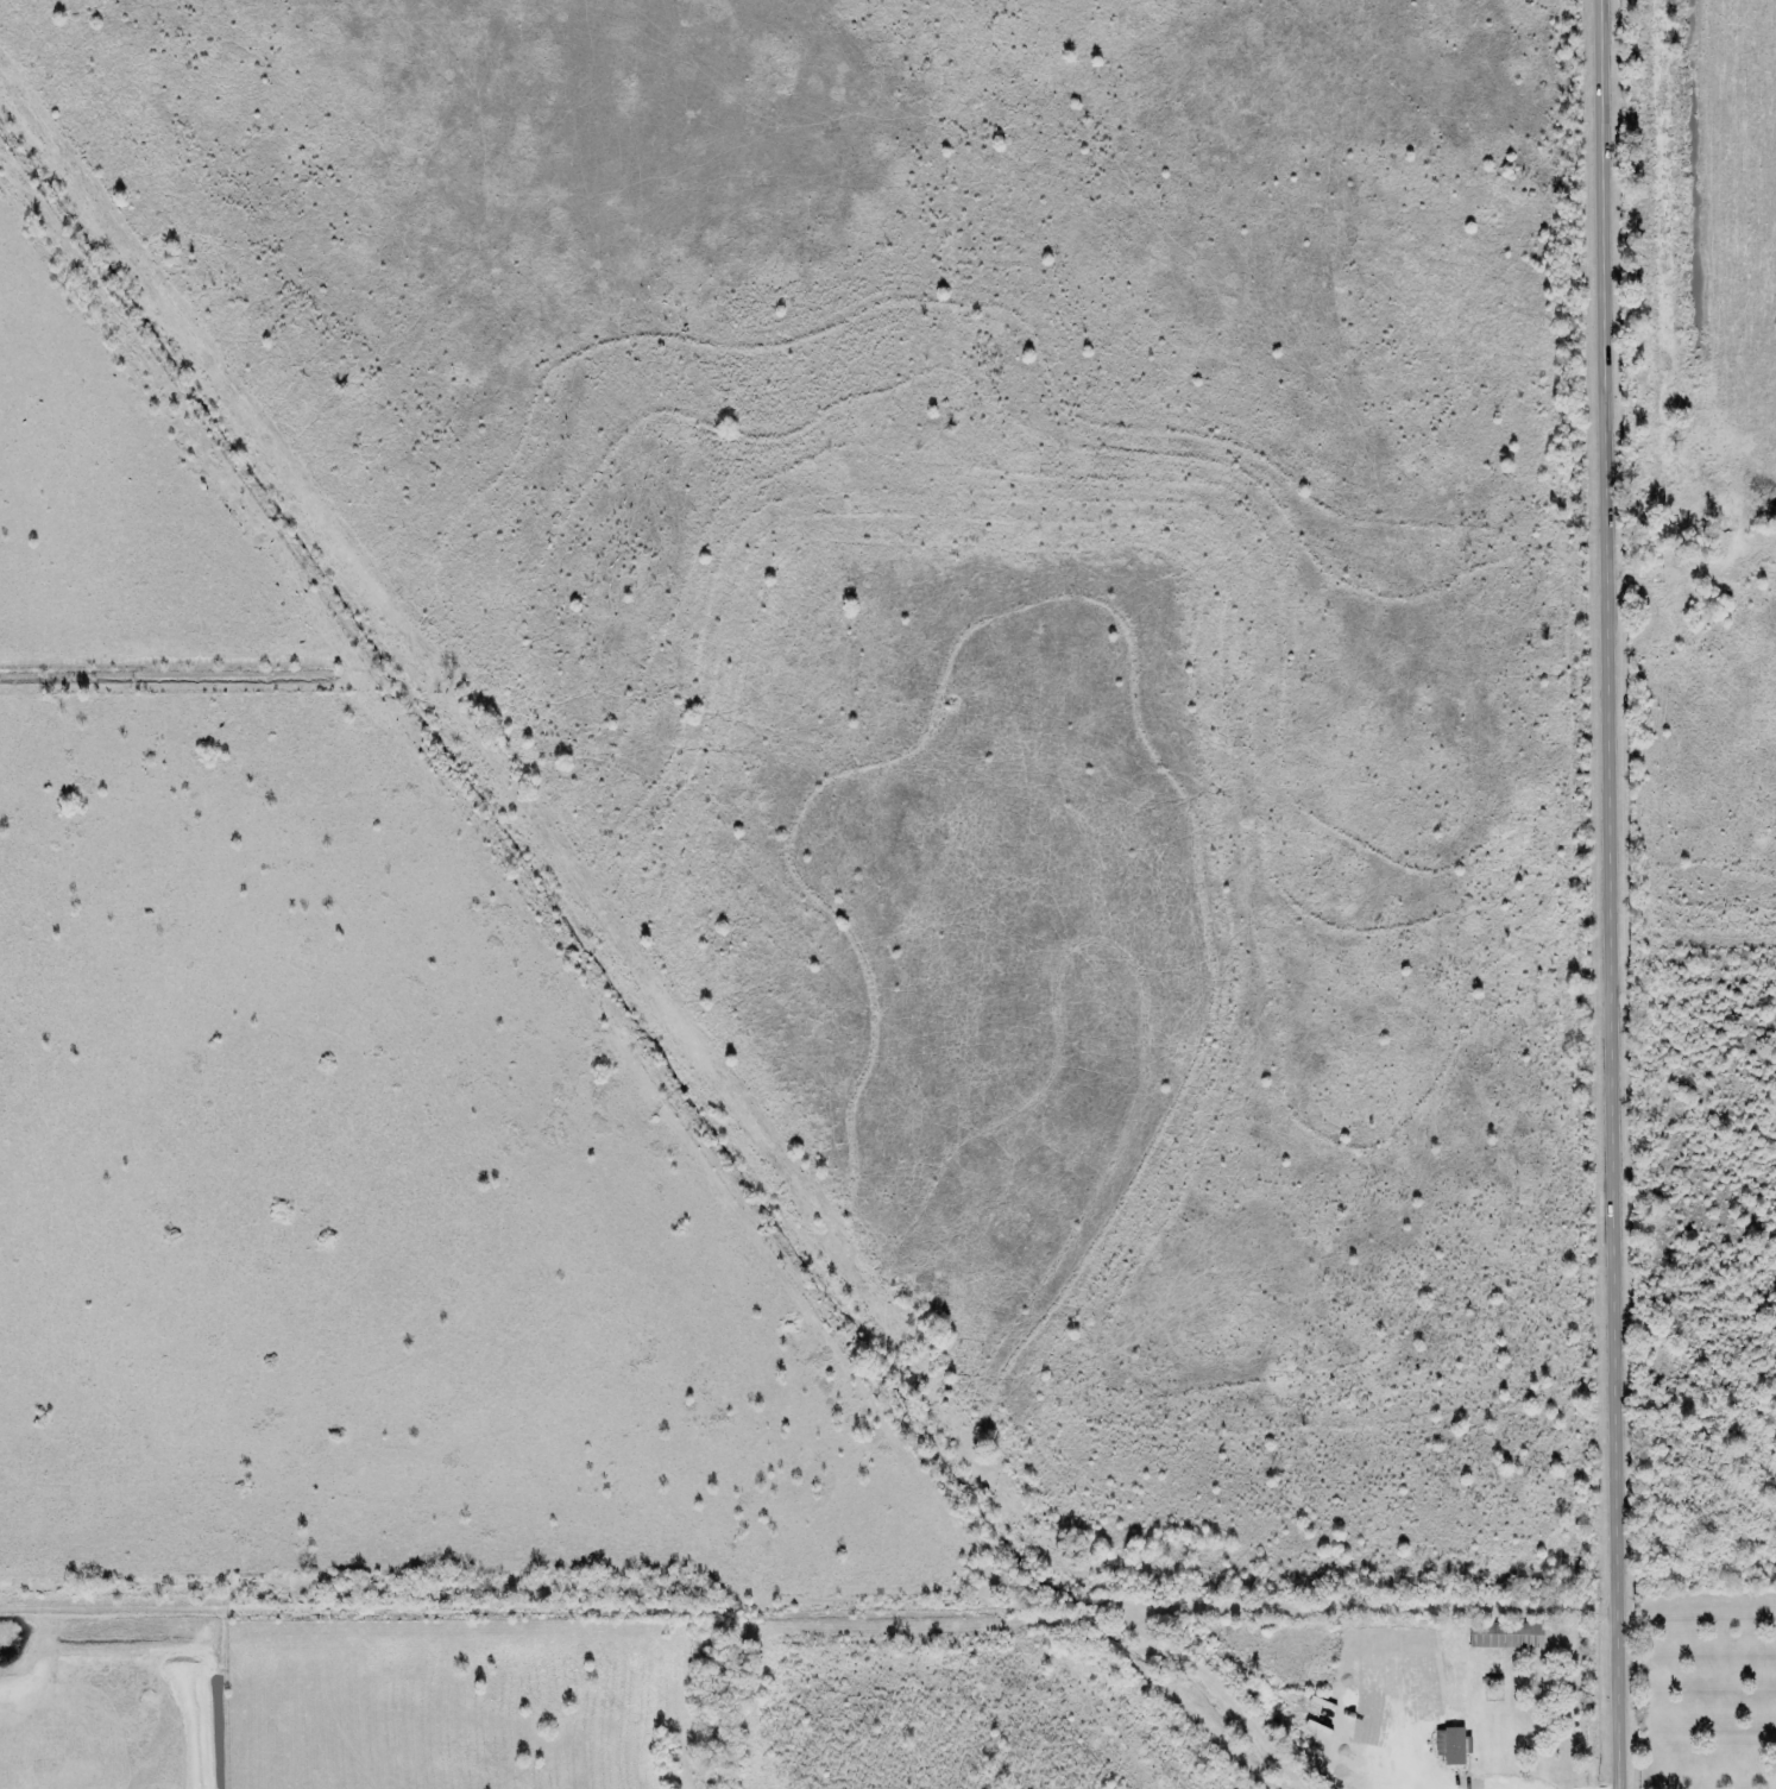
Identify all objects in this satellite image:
road: (1619, 894)
river: (611, 971)
road: (1378, 1605)
road: (565, 1607)
building: (1506, 1634)
building: (1451, 1745)

